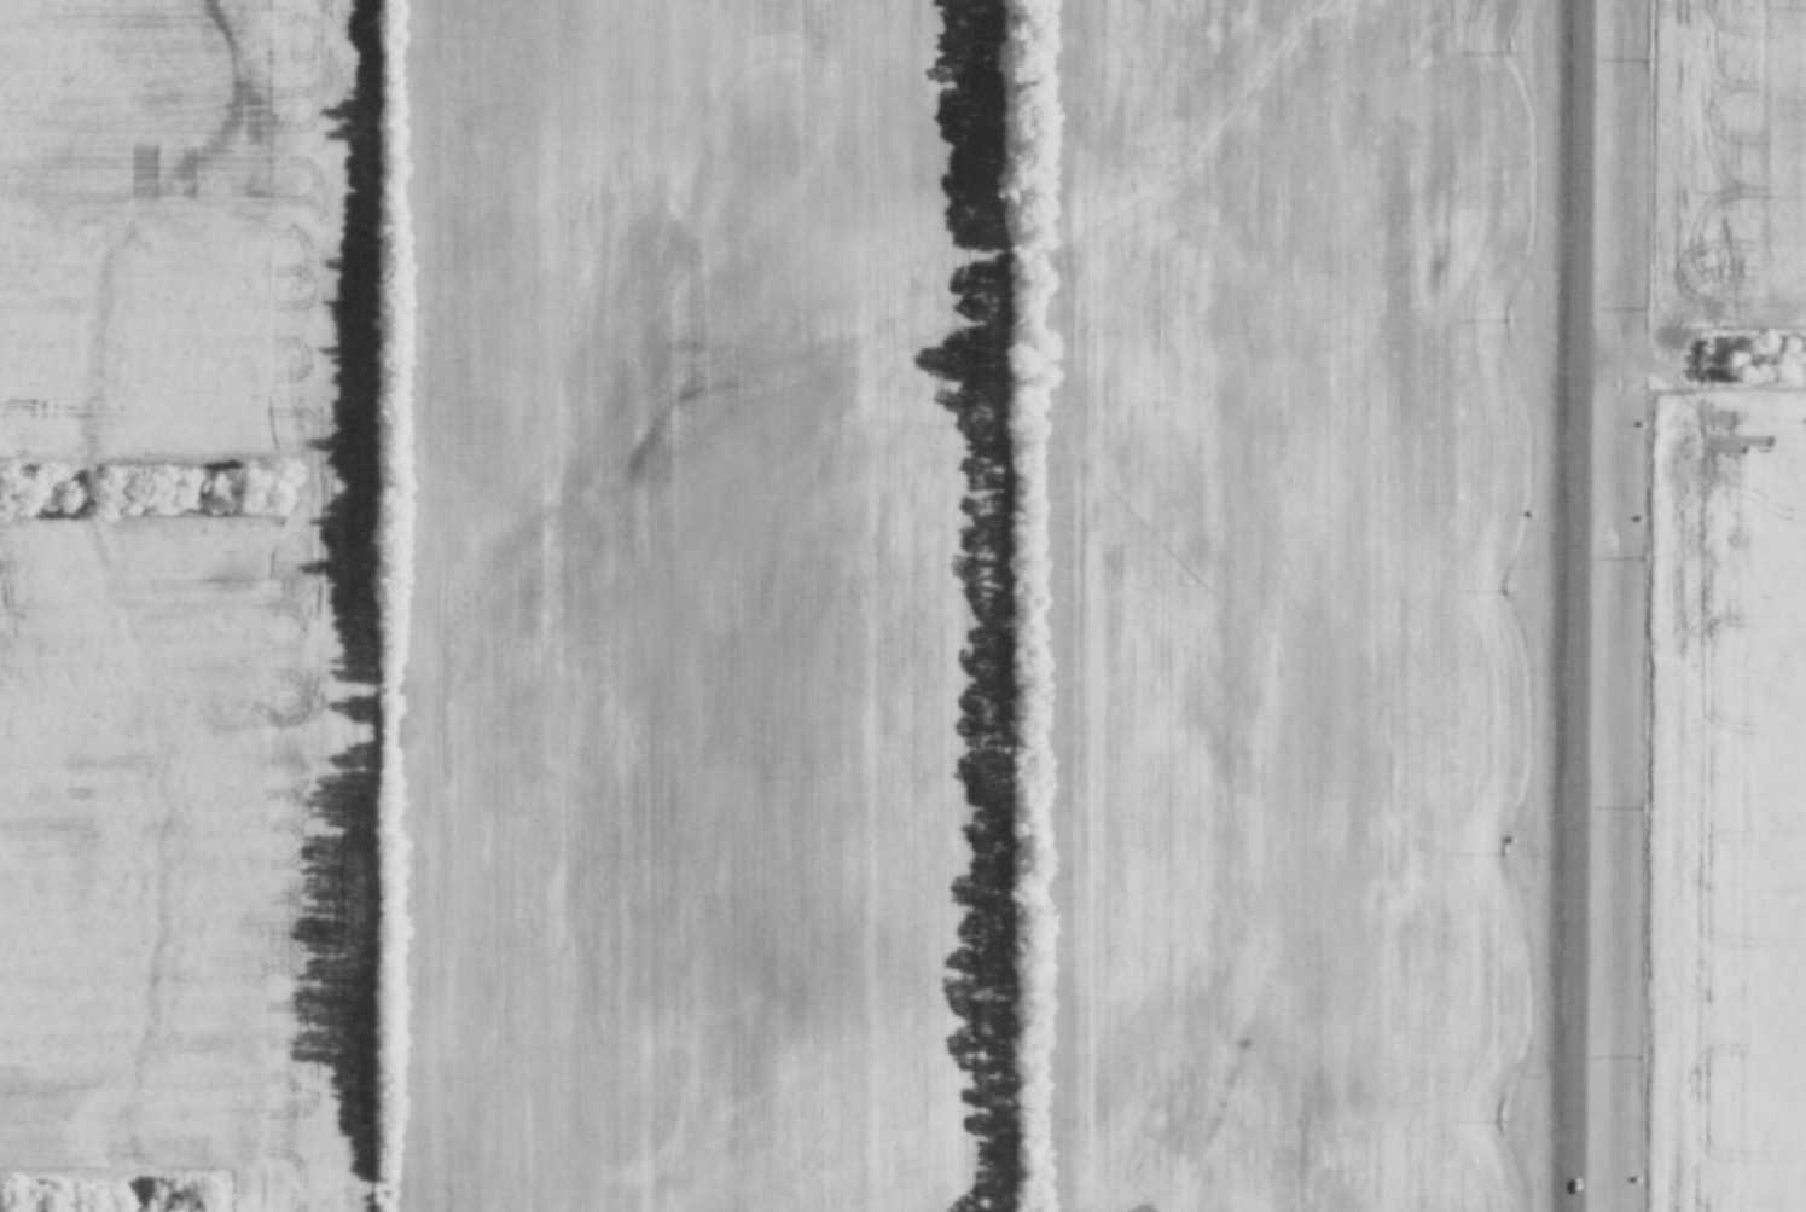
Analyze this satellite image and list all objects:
road: (1584, 605)

